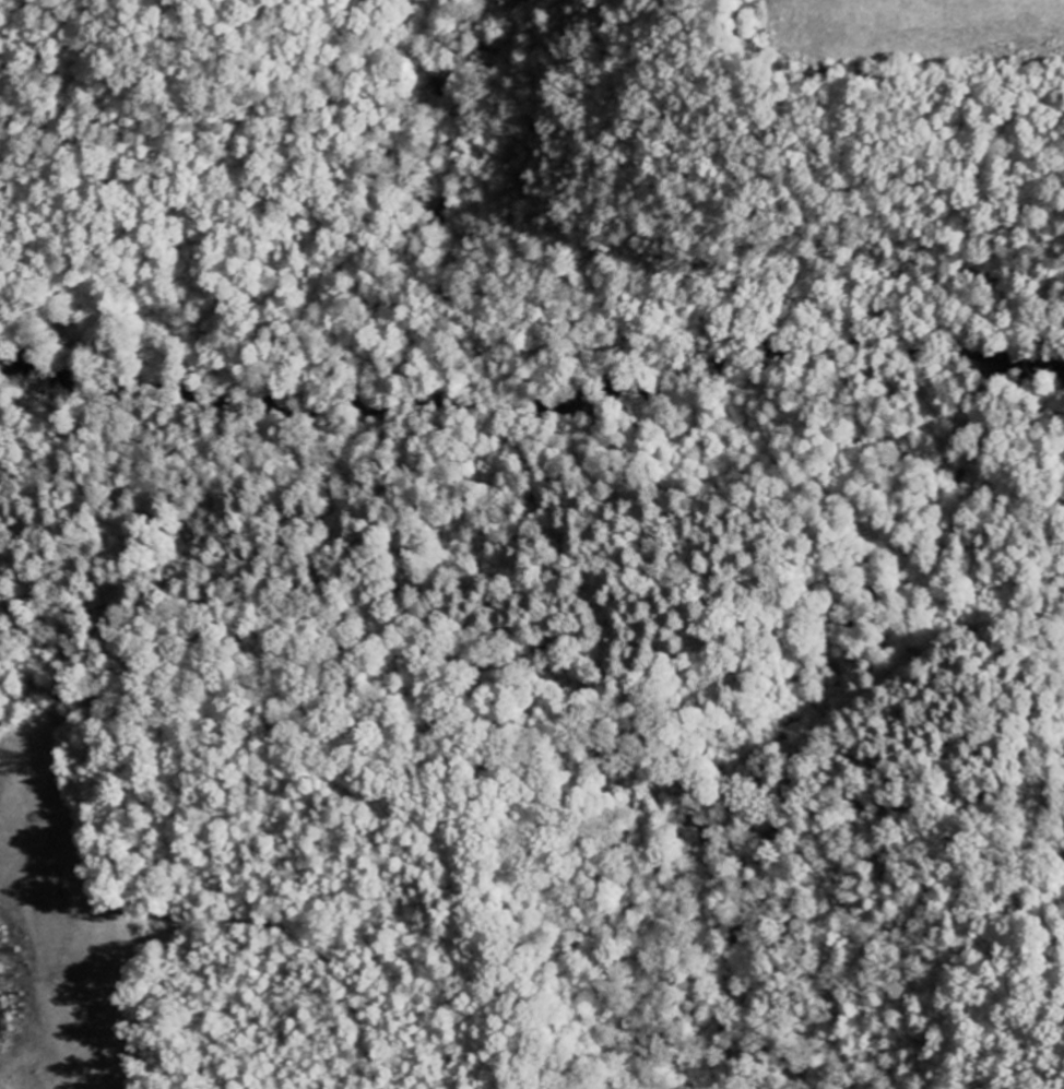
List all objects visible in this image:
road: (958, 1062)

